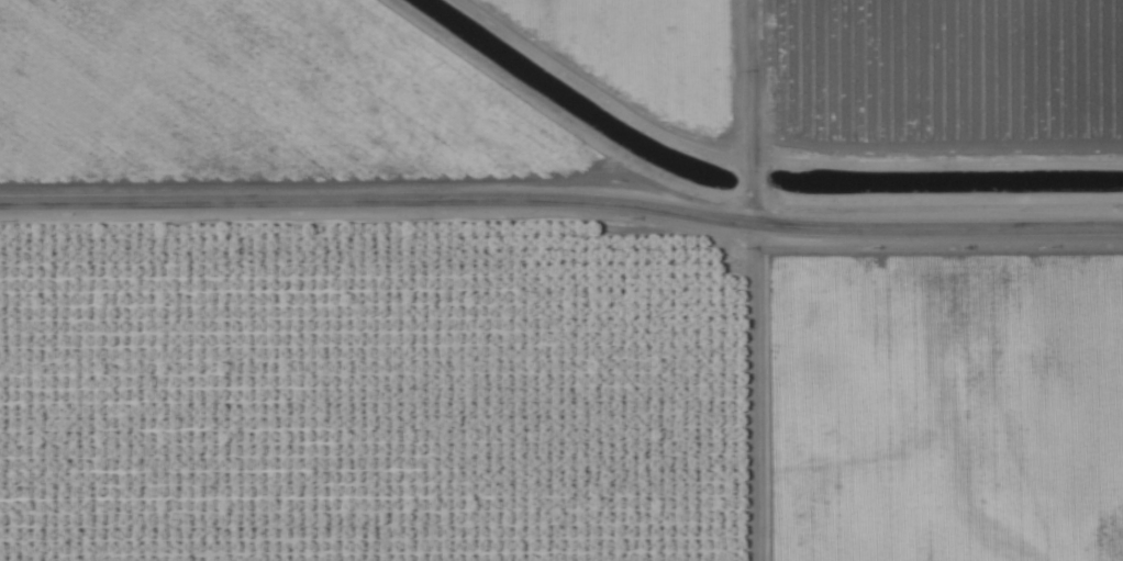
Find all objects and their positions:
road: (755, 112)
road: (561, 199)
crop: (561, 280)

